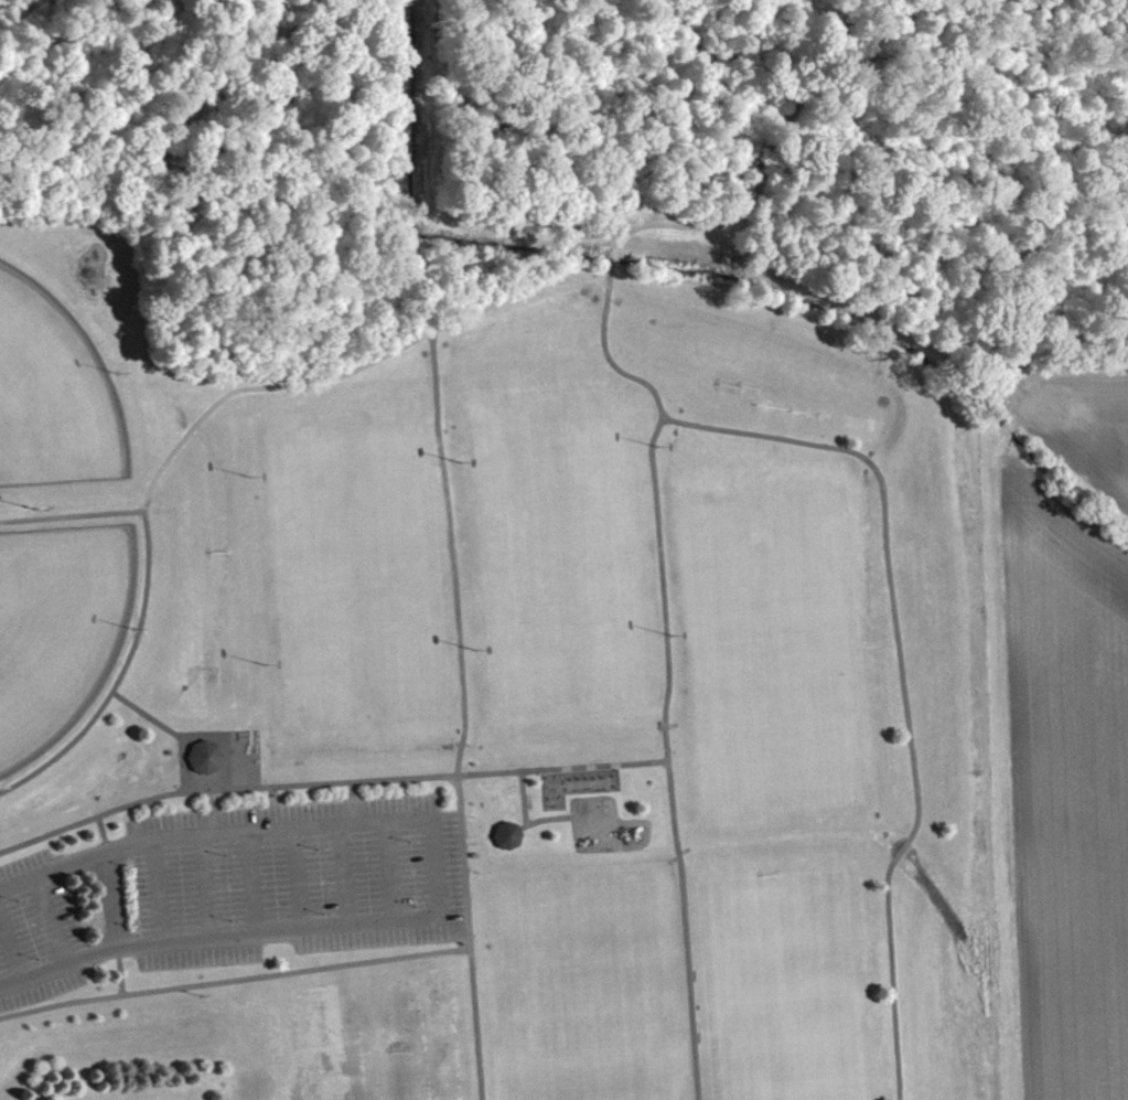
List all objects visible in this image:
road: (388, 355)
park: (51, 395)
road: (72, 516)
park: (560, 534)
park: (353, 552)
park: (502, 552)
park: (56, 629)
road: (667, 671)
park: (772, 675)
road: (899, 679)
road: (463, 716)
road: (168, 730)
building: (206, 765)
road: (327, 784)
road: (520, 799)
road: (351, 804)
road: (210, 813)
road: (540, 821)
road: (104, 836)
building: (507, 843)
road: (388, 873)
road: (432, 874)
road: (339, 876)
road: (296, 879)
road: (250, 883)
road: (204, 889)
parking lot: (232, 891)
road: (159, 895)
road: (108, 903)
road: (50, 922)
park: (578, 951)
road: (8, 953)
road: (118, 970)
road: (233, 979)
park: (777, 987)
park: (428, 1044)
park: (587, 1064)

